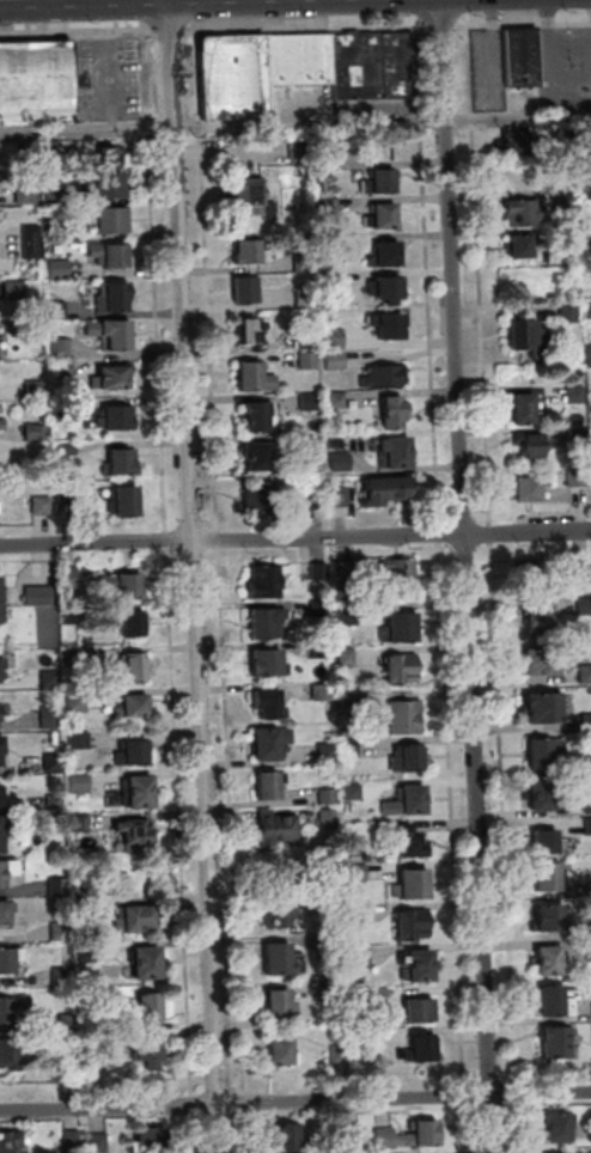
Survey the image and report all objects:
road: (524, 24)
road: (443, 25)
road: (306, 28)
road: (170, 32)
road: (78, 35)
building: (525, 55)
building: (300, 59)
parking lot: (567, 61)
road: (106, 65)
building: (398, 65)
building: (358, 66)
road: (554, 67)
building: (233, 74)
building: (37, 80)
road: (519, 115)
road: (224, 124)
building: (516, 141)
building: (55, 148)
building: (28, 151)
building: (300, 152)
building: (110, 154)
building: (330, 159)
building: (382, 179)
building: (111, 183)
building: (29, 194)
building: (60, 197)
building: (254, 197)
building: (569, 199)
building: (586, 199)
building: (334, 203)
building: (525, 211)
building: (384, 215)
building: (112, 219)
building: (62, 231)
building: (571, 238)
building: (589, 238)
building: (33, 242)
building: (522, 244)
building: (249, 250)
building: (112, 254)
building: (389, 254)
building: (305, 262)
building: (62, 268)
building: (578, 272)
road: (429, 275)
road: (481, 275)
road: (209, 281)
road: (158, 282)
building: (391, 286)
building: (249, 288)
building: (17, 289)
building: (307, 297)
building: (115, 298)
building: (61, 310)
building: (572, 313)
building: (330, 323)
building: (390, 324)
building: (35, 327)
building: (251, 330)
building: (114, 333)
building: (531, 336)
building: (337, 337)
building: (309, 340)
building: (62, 347)
building: (311, 360)
building: (337, 360)
building: (65, 368)
building: (114, 376)
building: (256, 377)
building: (385, 377)
building: (37, 389)
building: (578, 394)
building: (339, 399)
building: (312, 401)
building: (66, 408)
building: (526, 408)
building: (396, 411)
building: (262, 416)
building: (118, 419)
building: (580, 419)
building: (2, 425)
building: (38, 432)
building: (580, 435)
building: (316, 444)
building: (532, 445)
building: (69, 449)
building: (400, 451)
building: (261, 456)
building: (122, 460)
building: (343, 460)
building: (579, 477)
building: (532, 487)
building: (388, 489)
building: (69, 493)
building: (257, 495)
building: (342, 495)
building: (318, 499)
building: (126, 501)
building: (43, 505)
building: (0, 506)
road: (443, 533)
road: (493, 533)
road: (295, 538)
road: (170, 539)
road: (221, 539)
building: (583, 566)
building: (322, 571)
building: (346, 573)
building: (402, 574)
building: (534, 574)
road: (196, 575)
building: (71, 576)
road: (468, 576)
building: (269, 580)
building: (130, 585)
building: (319, 586)
building: (41, 594)
building: (585, 605)
building: (2, 606)
building: (322, 608)
building: (351, 615)
building: (74, 617)
building: (540, 620)
building: (268, 622)
building: (134, 623)
building: (404, 626)
building: (324, 649)
building: (77, 657)
building: (349, 657)
building: (543, 661)
building: (270, 663)
building: (132, 667)
building: (1, 669)
building: (403, 669)
building: (586, 673)
building: (53, 679)
building: (590, 689)
building: (324, 693)
building: (79, 701)
building: (353, 702)
building: (270, 703)
building: (136, 704)
building: (546, 707)
building: (53, 716)
building: (406, 718)
building: (587, 722)
building: (81, 739)
building: (272, 742)
building: (1, 748)
building: (352, 749)
building: (134, 752)
building: (329, 752)
building: (546, 752)
building: (414, 756)
building: (55, 763)
building: (587, 764)
building: (81, 782)
building: (272, 783)
building: (141, 791)
building: (355, 792)
building: (1, 795)
building: (330, 795)
building: (542, 795)
building: (409, 801)
building: (587, 803)
road: (506, 815)
road: (455, 816)
building: (331, 819)
building: (81, 822)
road: (182, 822)
road: (233, 822)
building: (384, 824)
building: (279, 825)
building: (589, 825)
building: (138, 830)
building: (1, 835)
building: (413, 841)
building: (547, 842)
building: (358, 859)
building: (7, 870)
building: (360, 872)
building: (548, 877)
building: (415, 884)
building: (60, 886)
building: (334, 899)
building: (5, 913)
building: (282, 913)
building: (362, 914)
building: (136, 917)
building: (552, 917)
building: (414, 923)
building: (62, 931)
building: (337, 942)
building: (89, 951)
building: (10, 958)
building: (280, 958)
building: (362, 958)
building: (550, 960)
building: (148, 963)
building: (424, 965)
building: (65, 976)
building: (337, 987)
building: (382, 996)
building: (556, 1002)
building: (280, 1005)
building: (10, 1008)
building: (151, 1008)
building: (419, 1012)
building: (68, 1023)
building: (556, 1042)
building: (424, 1047)
building: (151, 1050)
building: (285, 1051)
building: (341, 1053)
building: (8, 1055)
building: (96, 1067)
road: (519, 1093)
road: (467, 1096)
road: (295, 1100)
road: (246, 1102)
road: (547, 1103)
road: (195, 1104)
road: (493, 1105)
road: (355, 1109)
road: (221, 1112)
road: (105, 1115)
road: (520, 1125)
building: (558, 1127)
road: (468, 1128)
road: (248, 1130)
building: (346, 1130)
road: (196, 1131)
building: (410, 1135)
building: (288, 1137)
building: (153, 1140)
building: (10, 1141)
building: (73, 1141)
building: (99, 1142)

